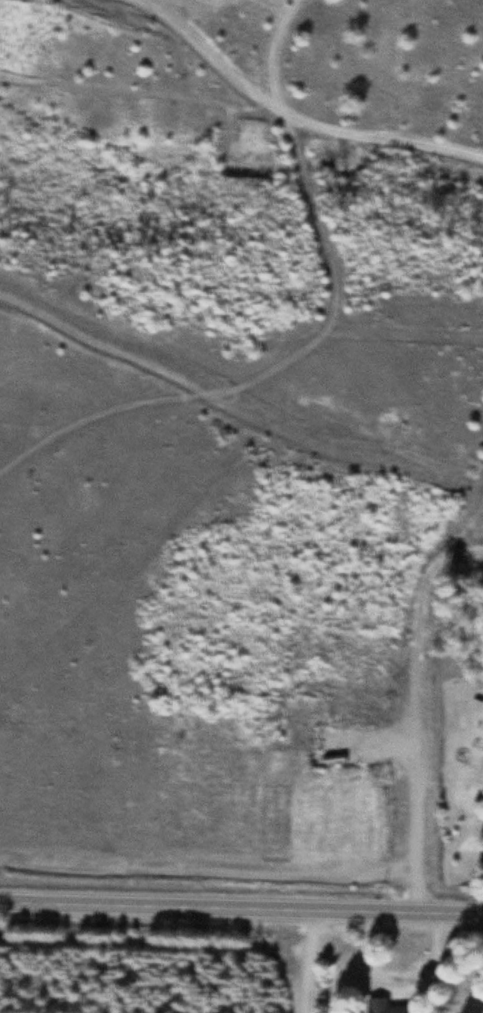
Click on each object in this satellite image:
road: (241, 908)
road: (303, 961)
building: (386, 1006)

